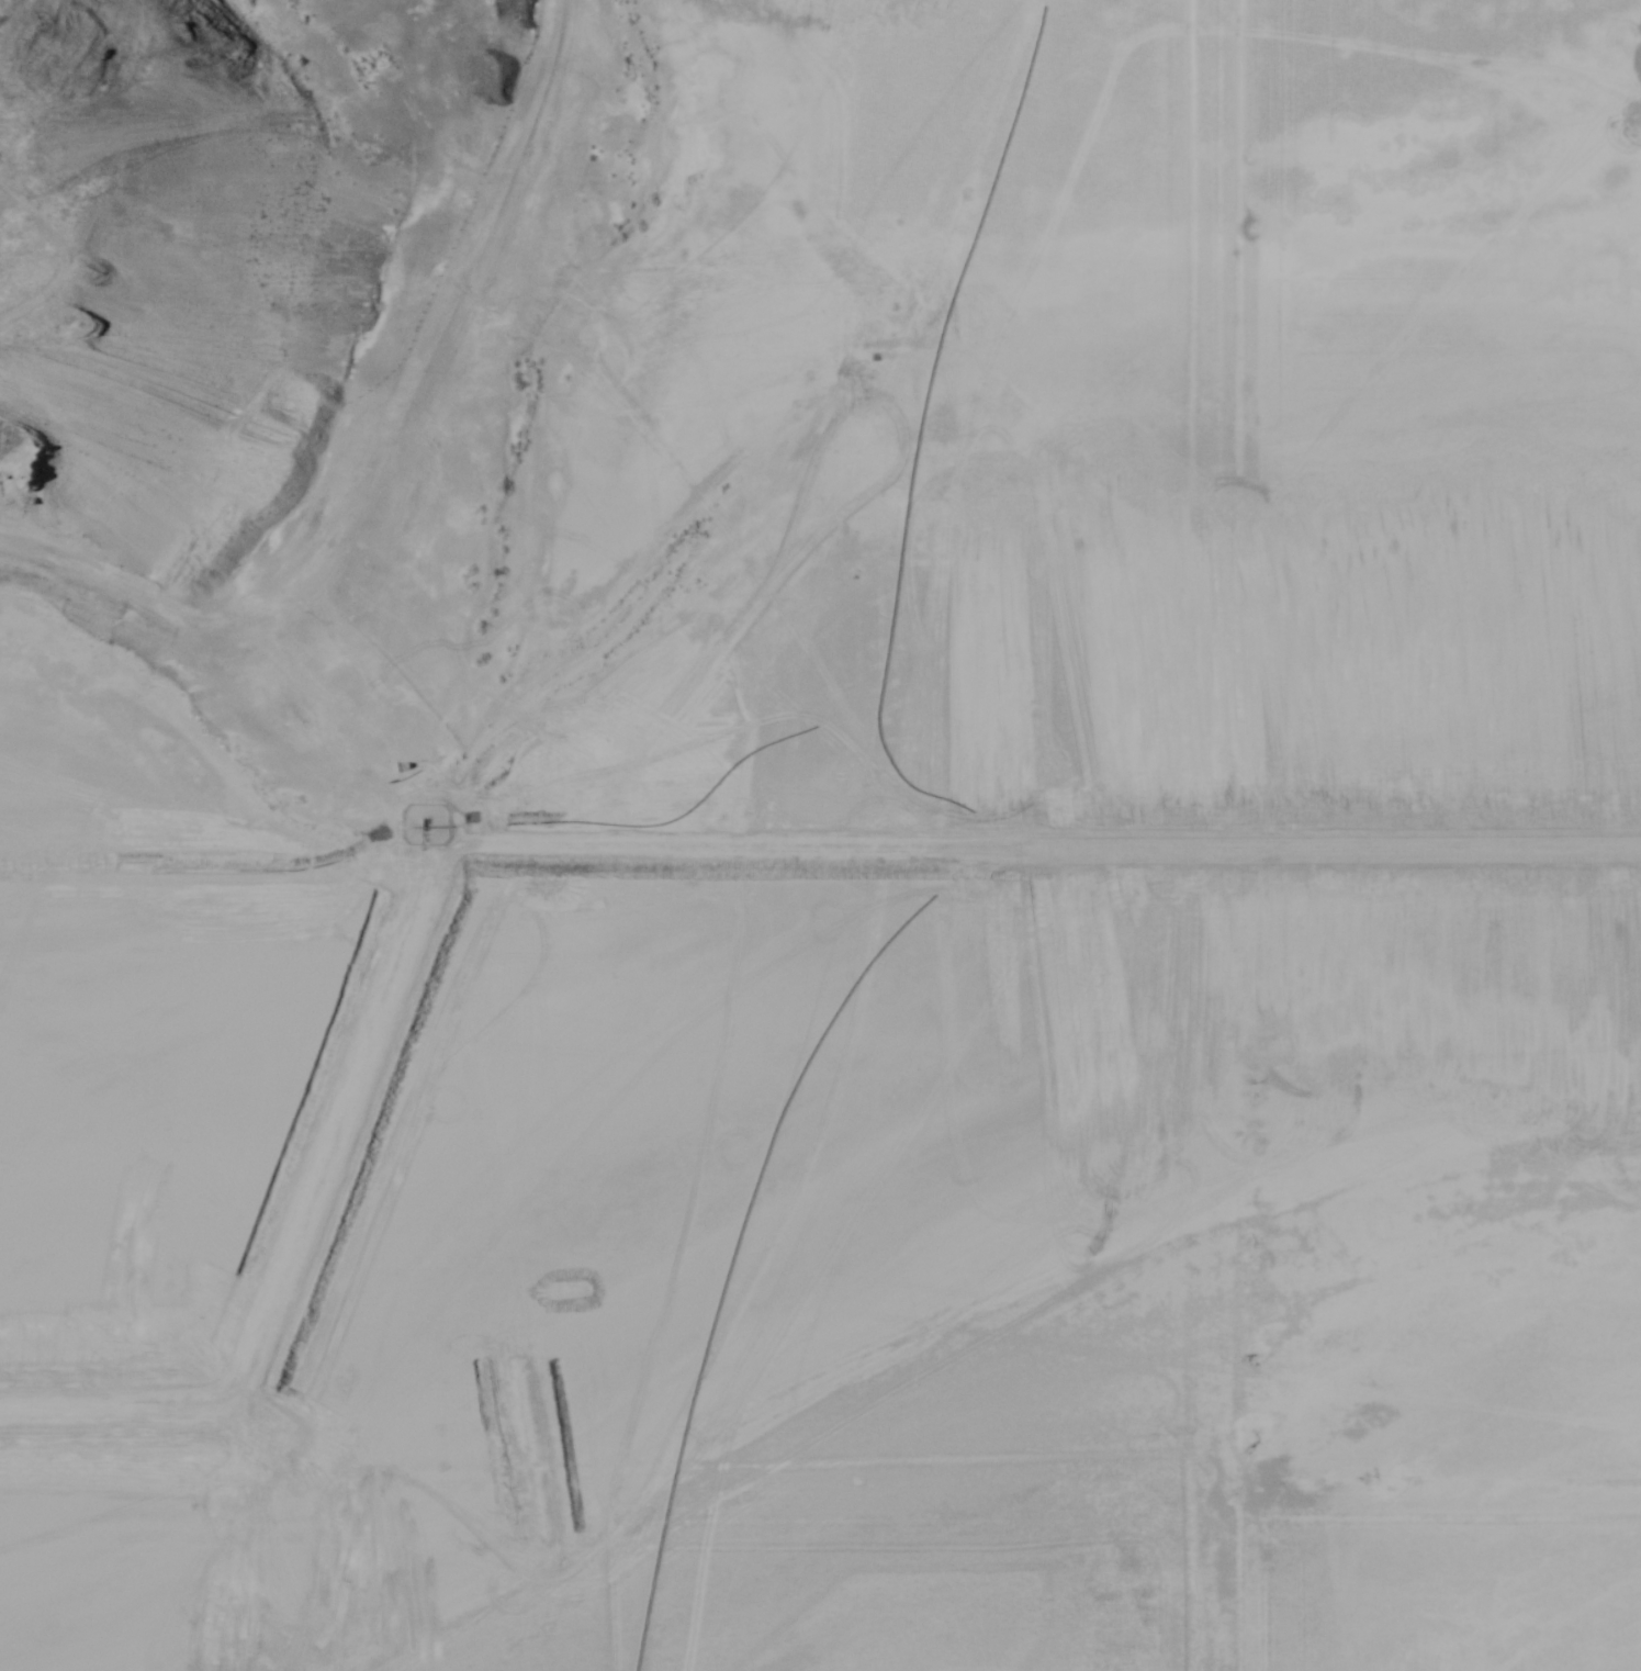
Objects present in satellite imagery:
road: (372, 445)

